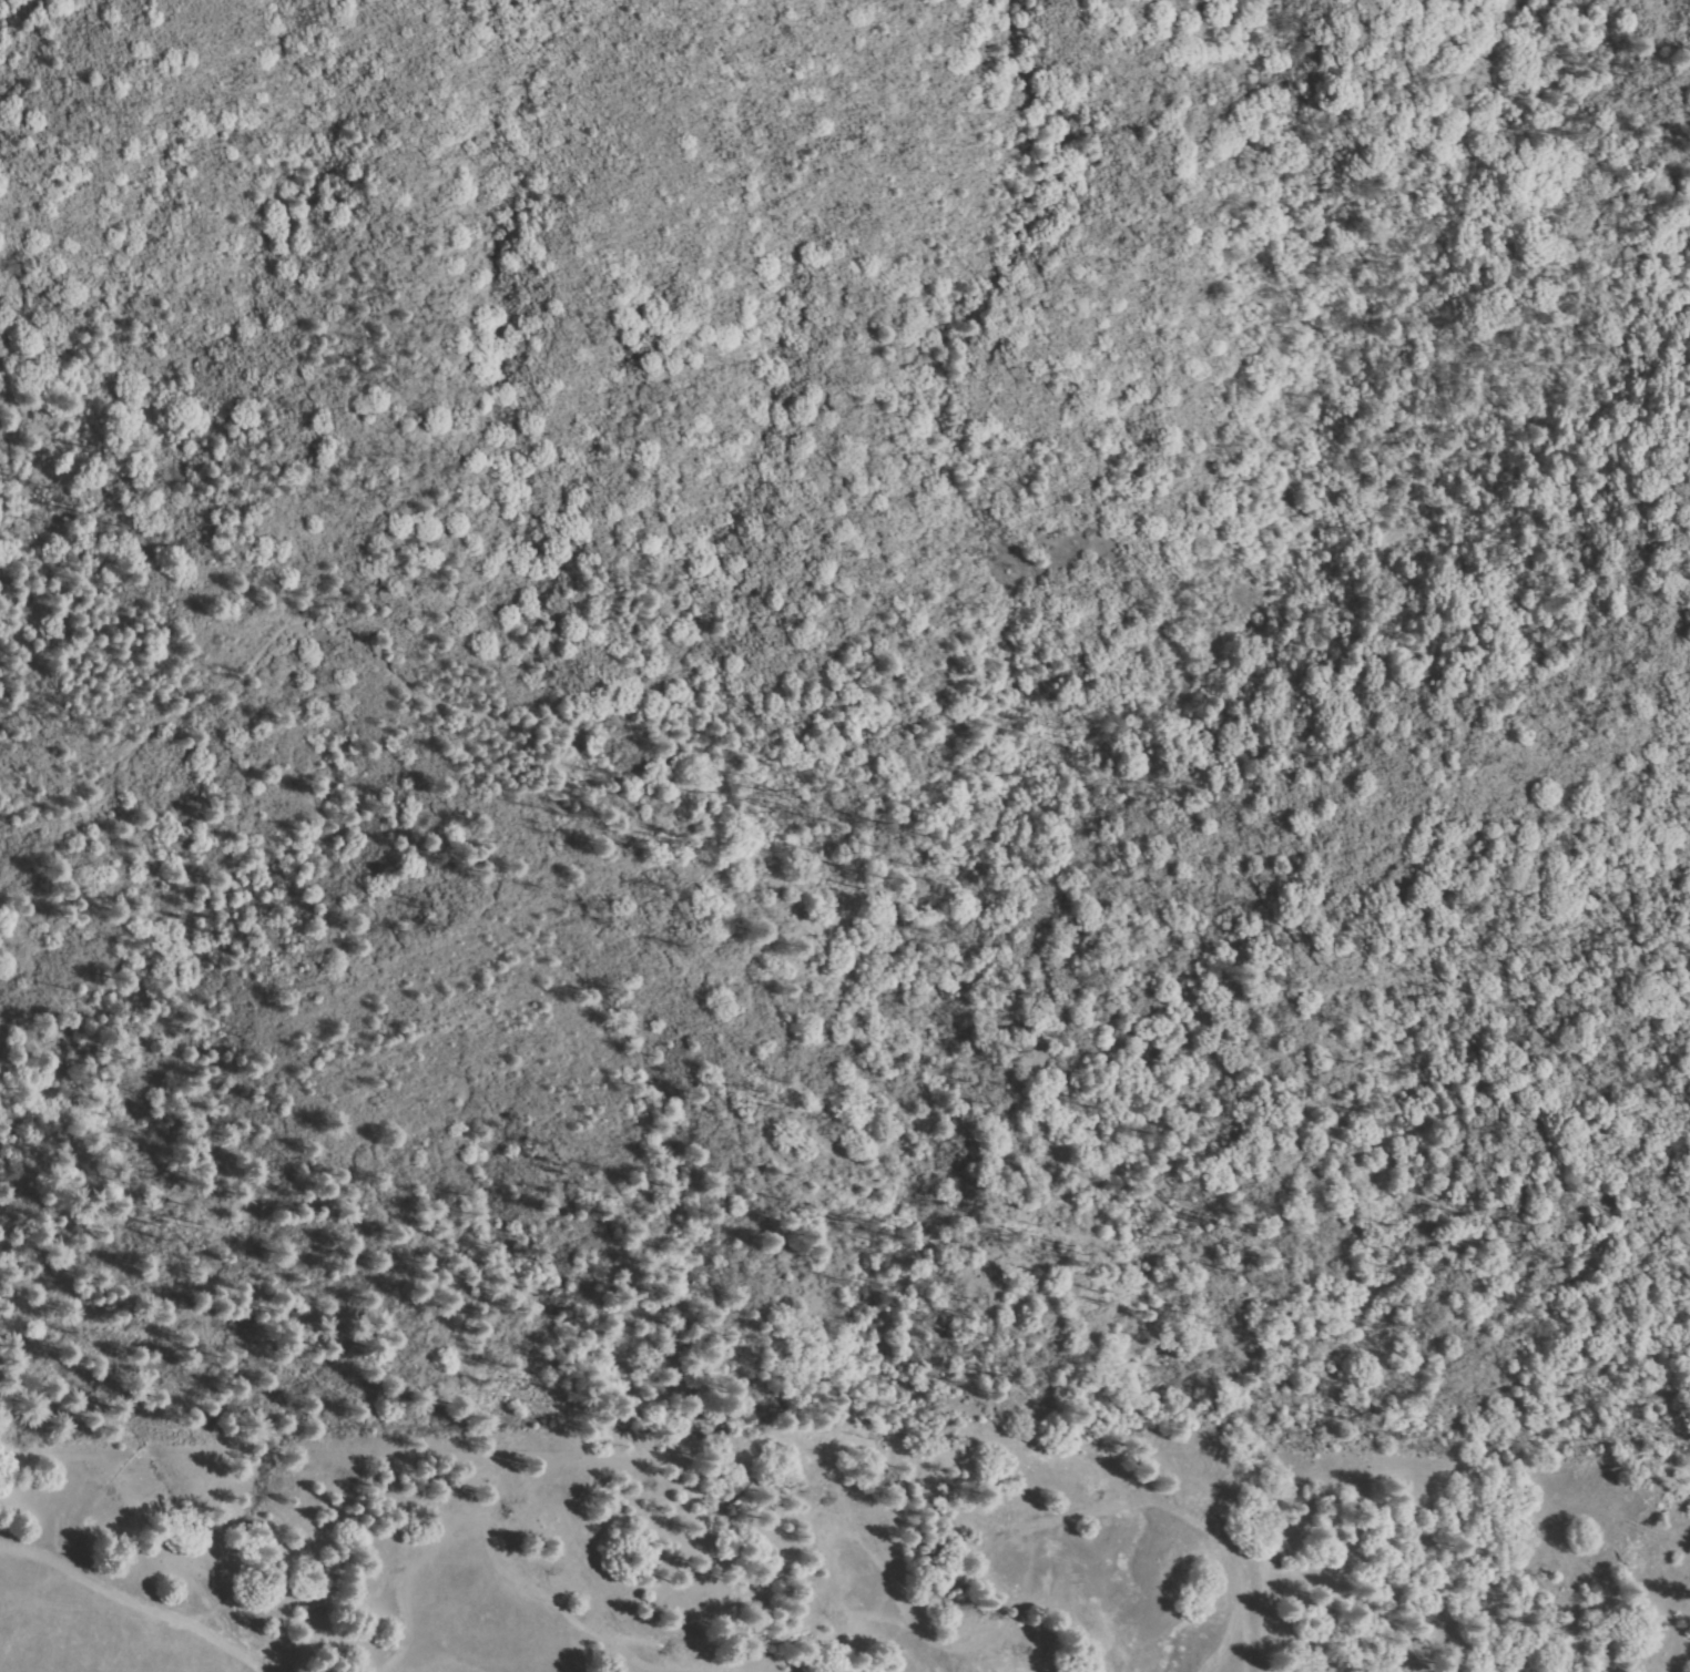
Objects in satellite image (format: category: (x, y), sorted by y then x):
road: (1047, 696)

